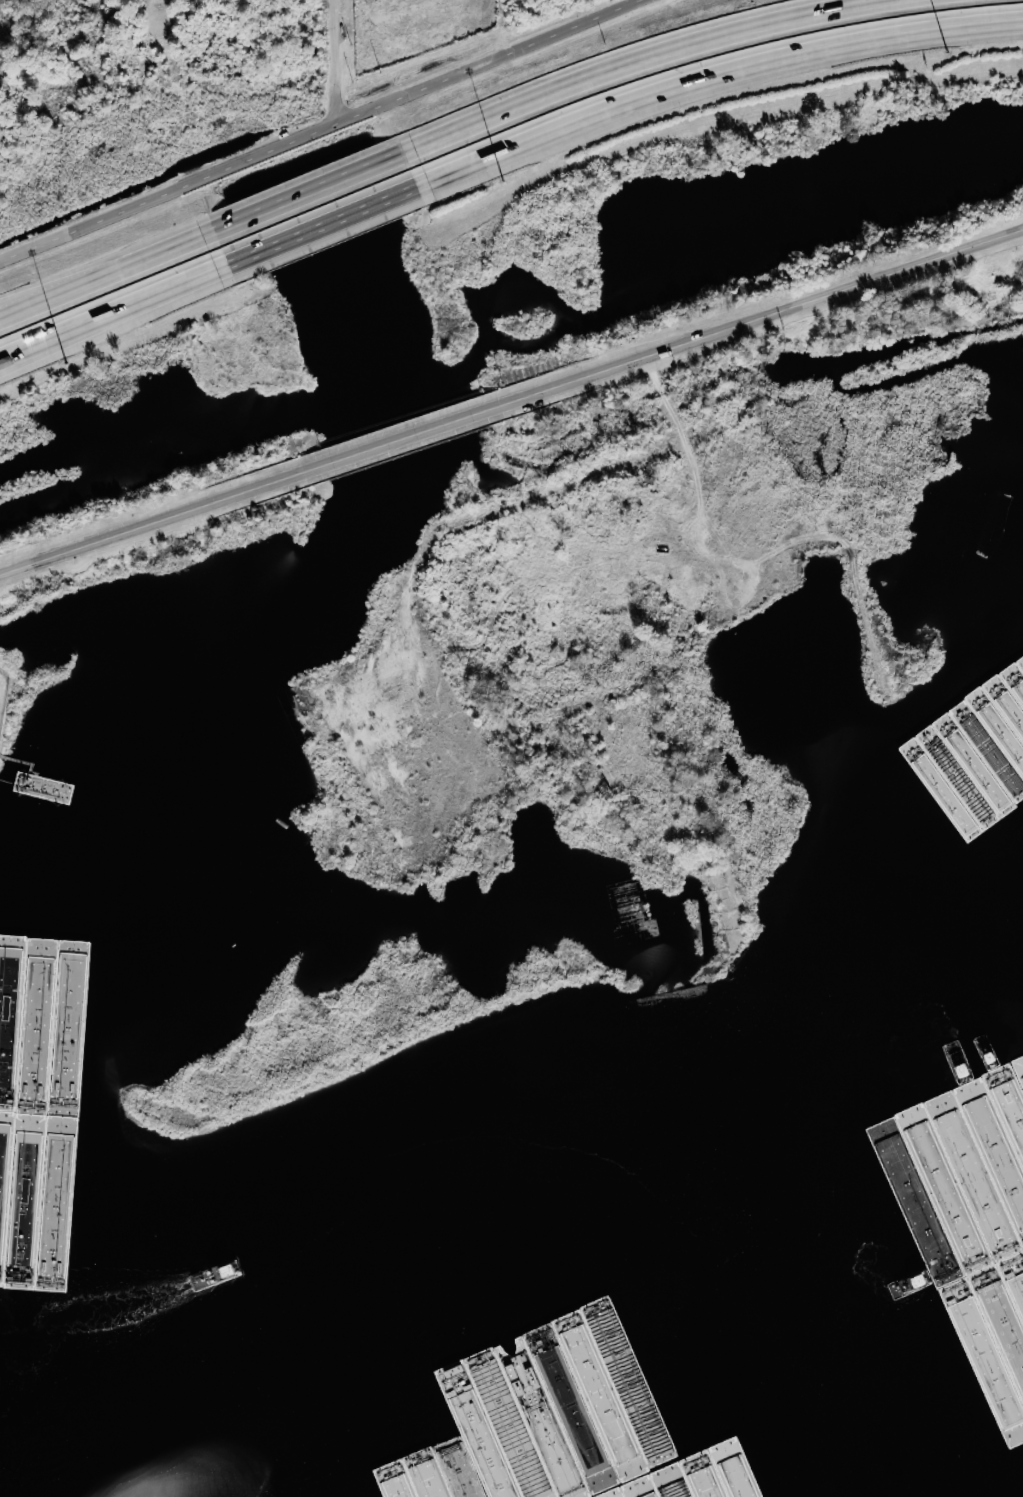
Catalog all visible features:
road: (625, 59)
road: (340, 62)
road: (711, 76)
road: (326, 131)
road: (307, 190)
road: (319, 225)
road: (160, 251)
road: (53, 287)
road: (53, 295)
road: (112, 308)
road: (772, 316)
road: (33, 345)
road: (686, 400)
road: (424, 433)
building: (724, 446)
road: (164, 521)
building: (993, 523)
road: (446, 700)

